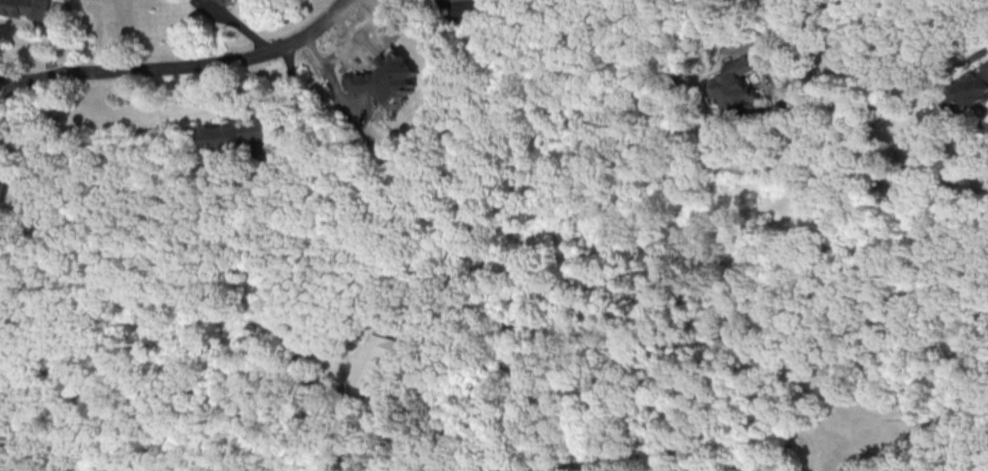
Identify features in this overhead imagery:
building: (224, 1)
building: (26, 8)
road: (845, 11)
road: (179, 72)
building: (385, 76)
road: (904, 77)
building: (734, 86)
building: (967, 94)
building: (237, 132)
building: (4, 187)
building: (379, 357)
road: (438, 404)
road: (29, 455)

